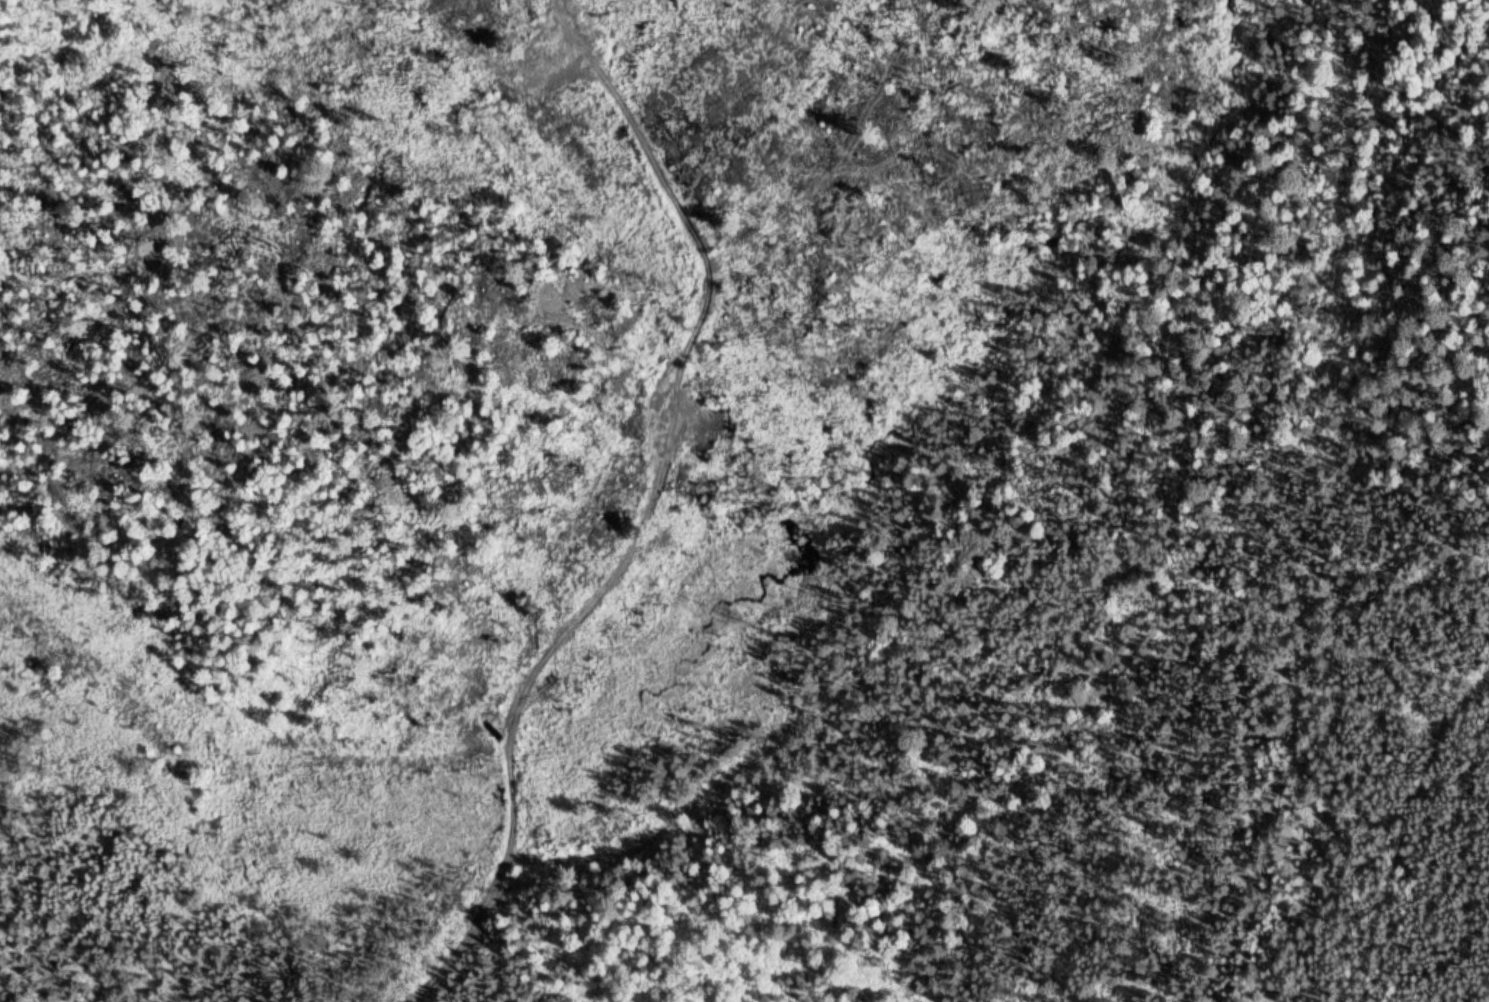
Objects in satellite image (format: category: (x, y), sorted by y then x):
road: (840, 671)

